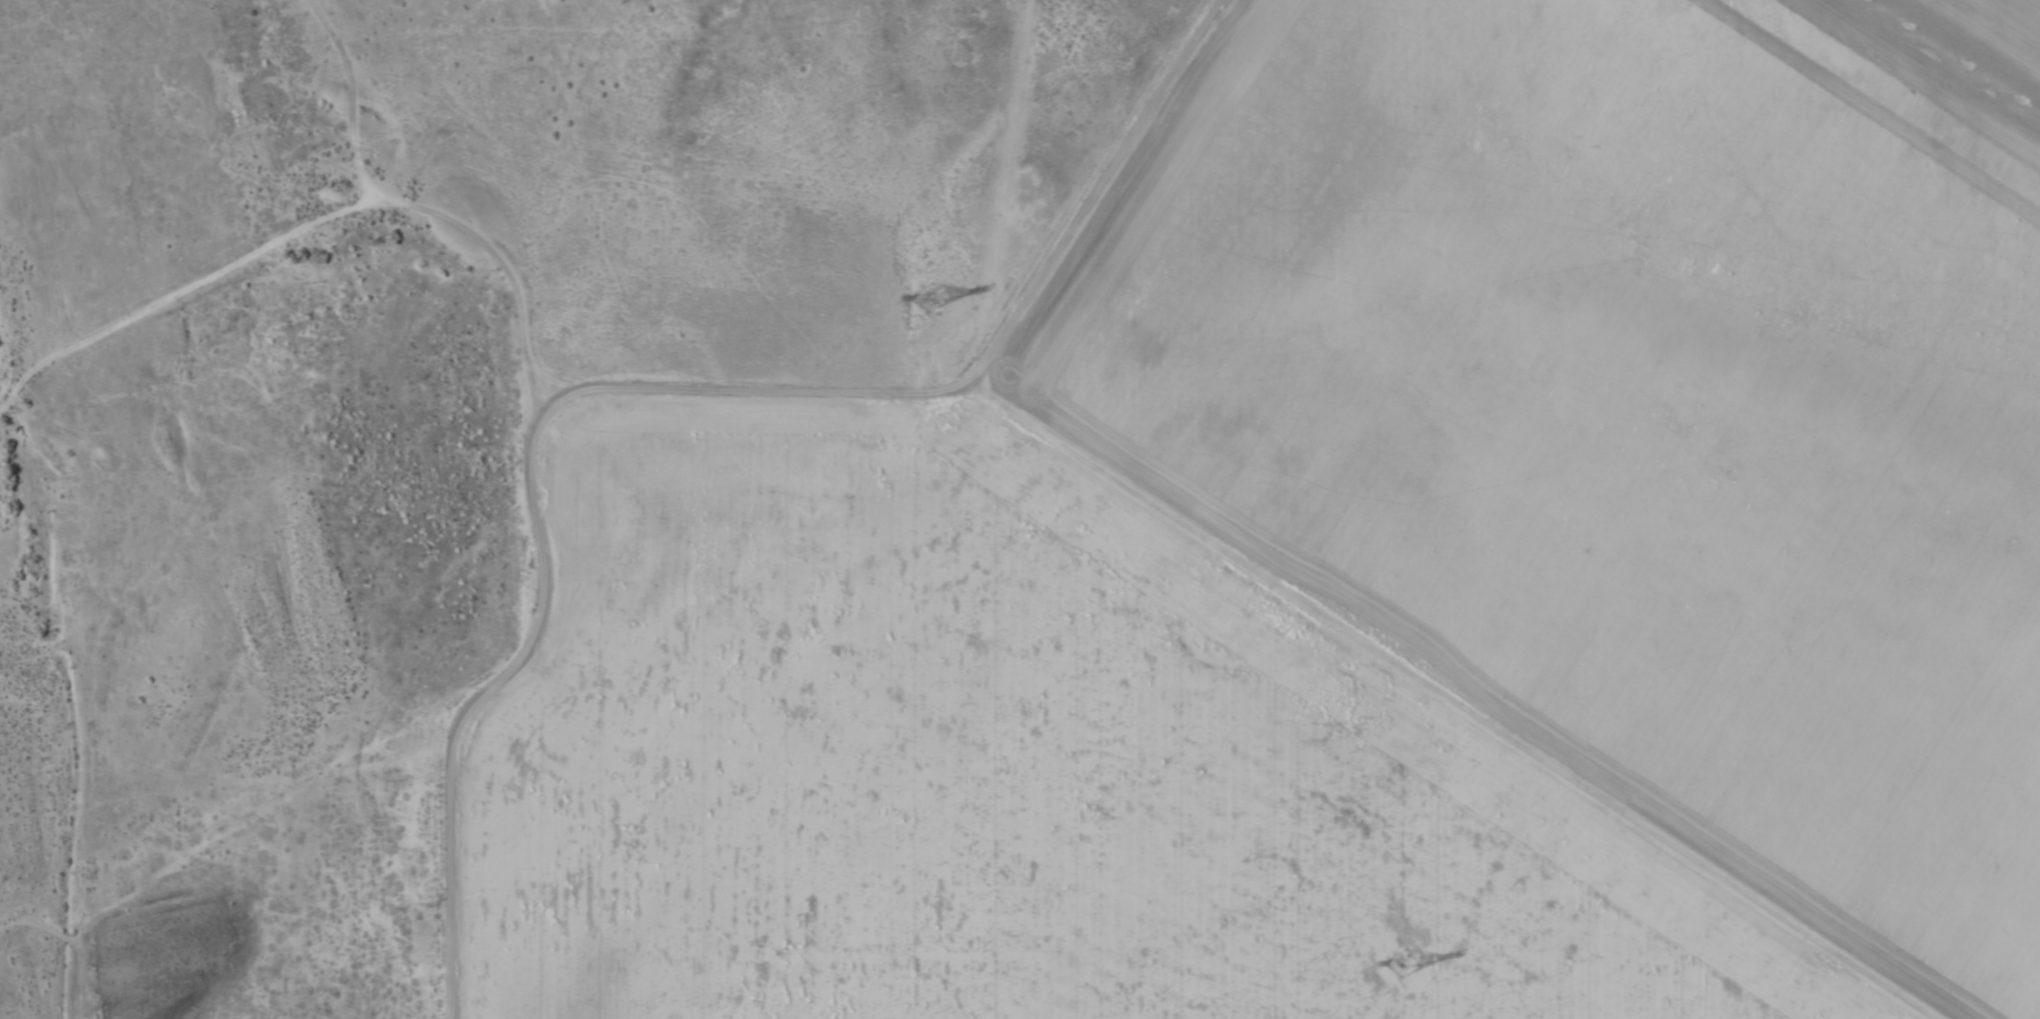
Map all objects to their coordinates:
crop: (1982, 37)
road: (1412, 94)
power tower: (929, 297)

